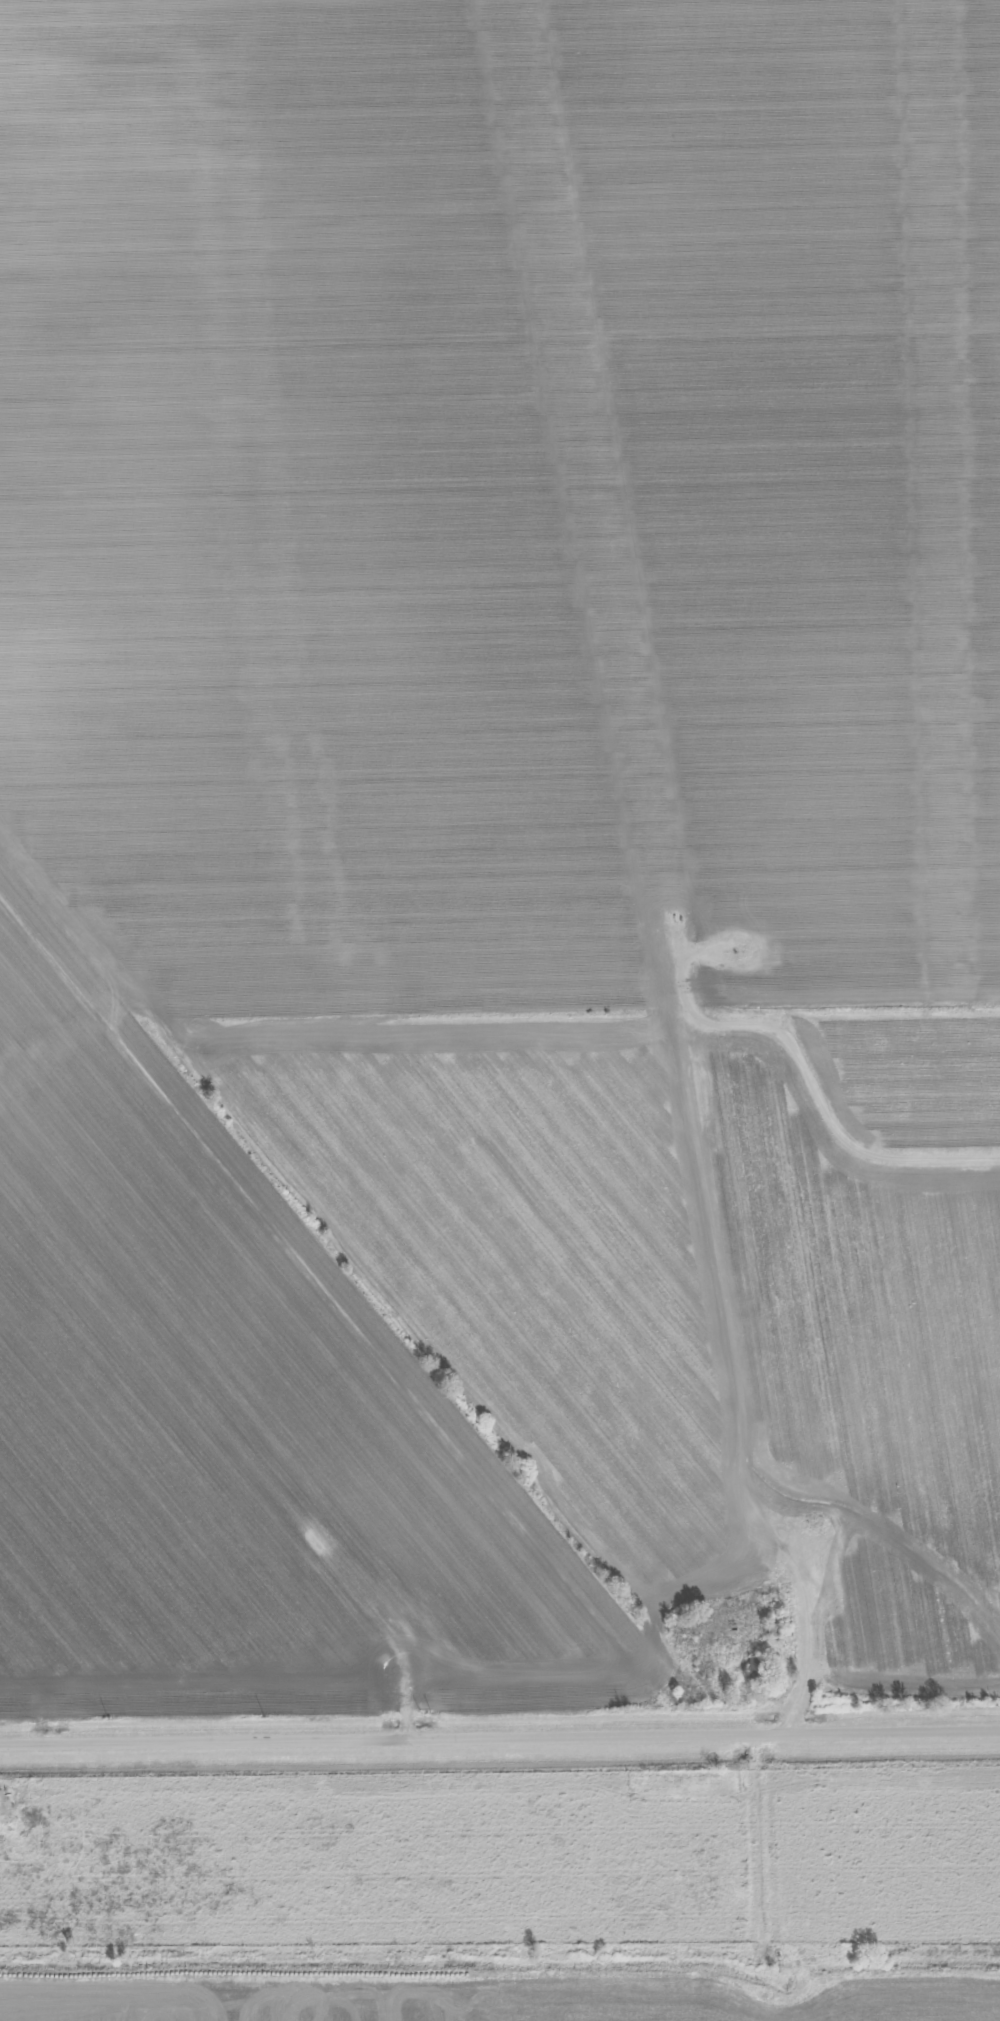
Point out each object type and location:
road: (499, 1732)

